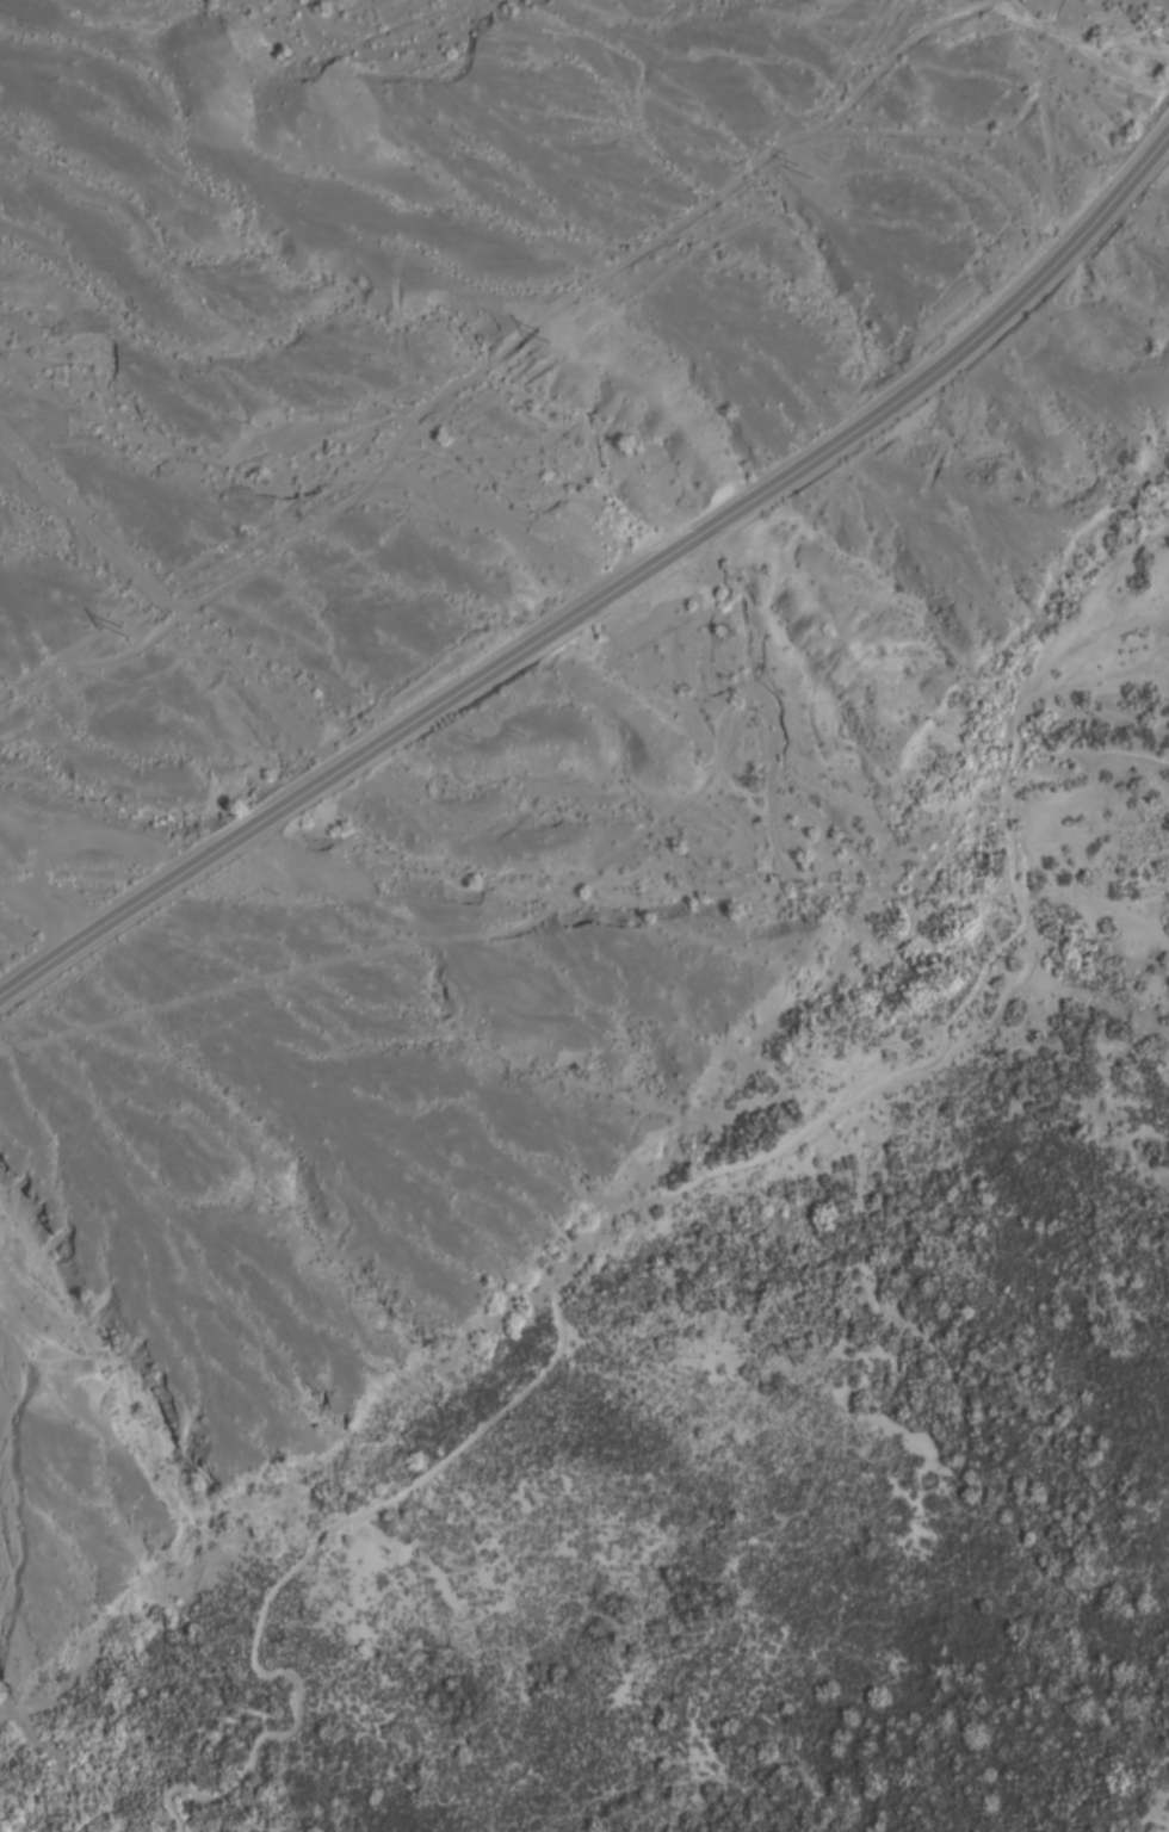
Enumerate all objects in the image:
power tower: (797, 167)
power tower: (544, 338)
road: (608, 595)
power tower: (125, 632)

